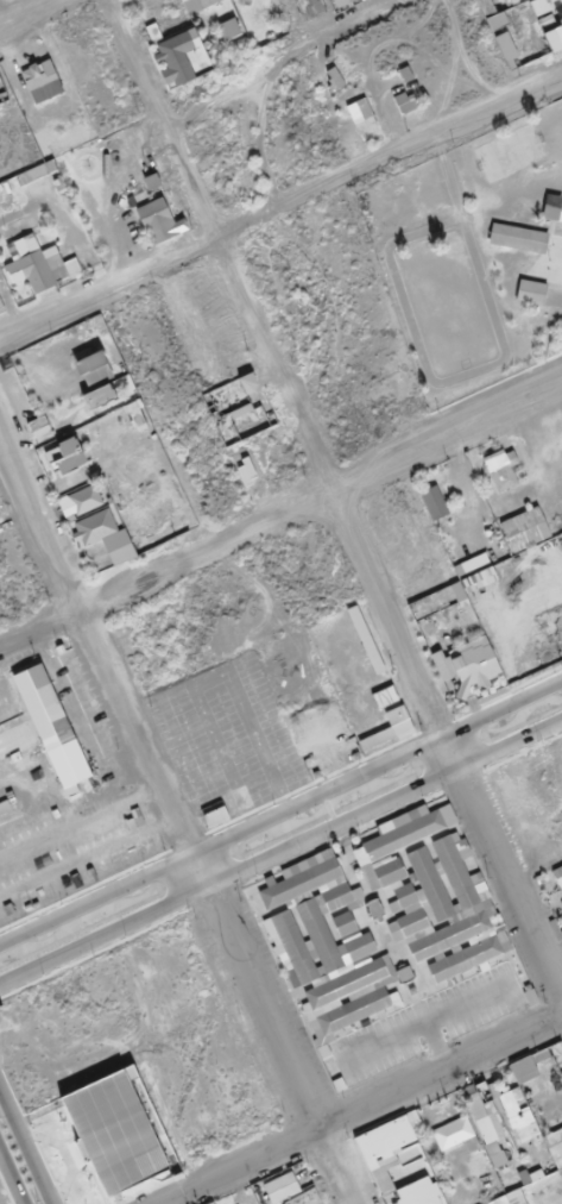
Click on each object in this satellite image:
road: (31, 13)
road: (472, 55)
road: (279, 63)
road: (279, 209)
road: (335, 504)
road: (280, 518)
road: (280, 813)
road: (173, 823)
road: (280, 849)
road: (359, 1110)

